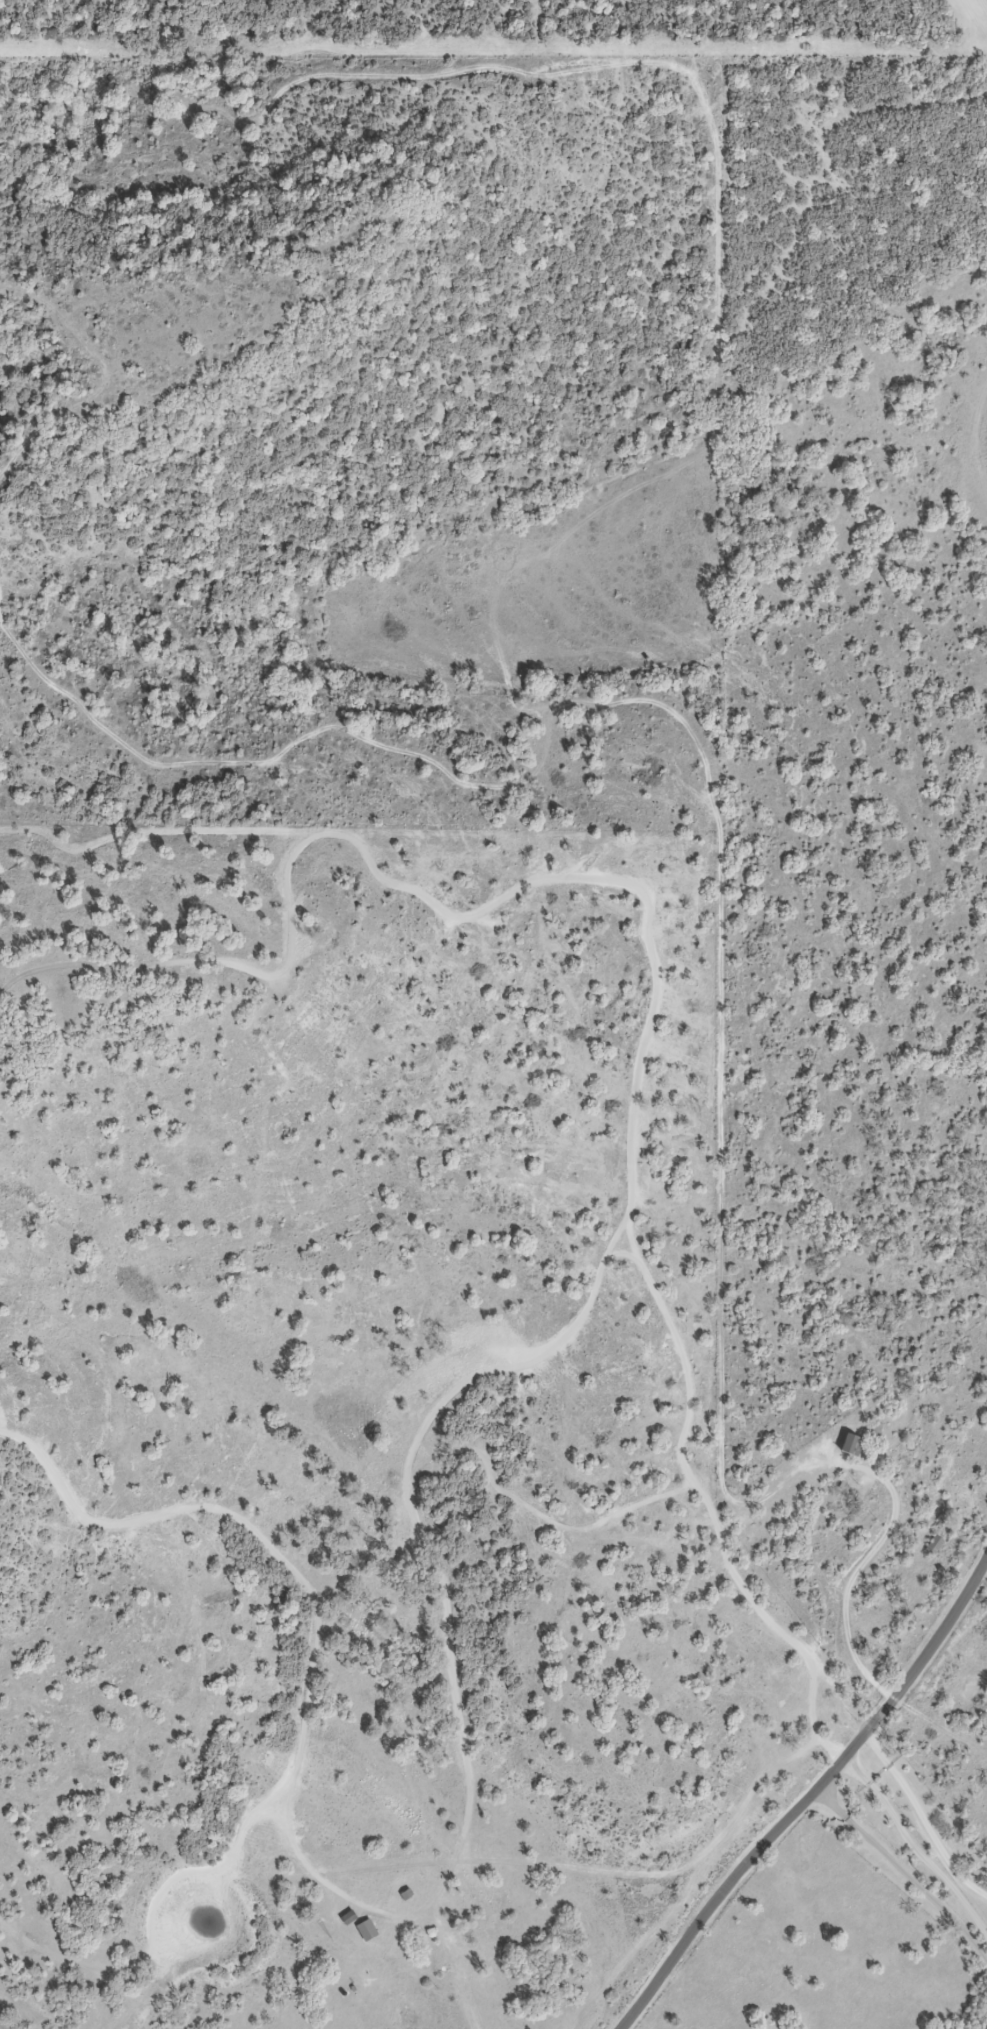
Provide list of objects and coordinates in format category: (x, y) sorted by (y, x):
building: (853, 1446)
building: (935, 1546)
road: (856, 1574)
road: (809, 1799)
road: (925, 1814)
road: (916, 1844)
road: (906, 1869)
building: (367, 1931)
road: (737, 1990)

